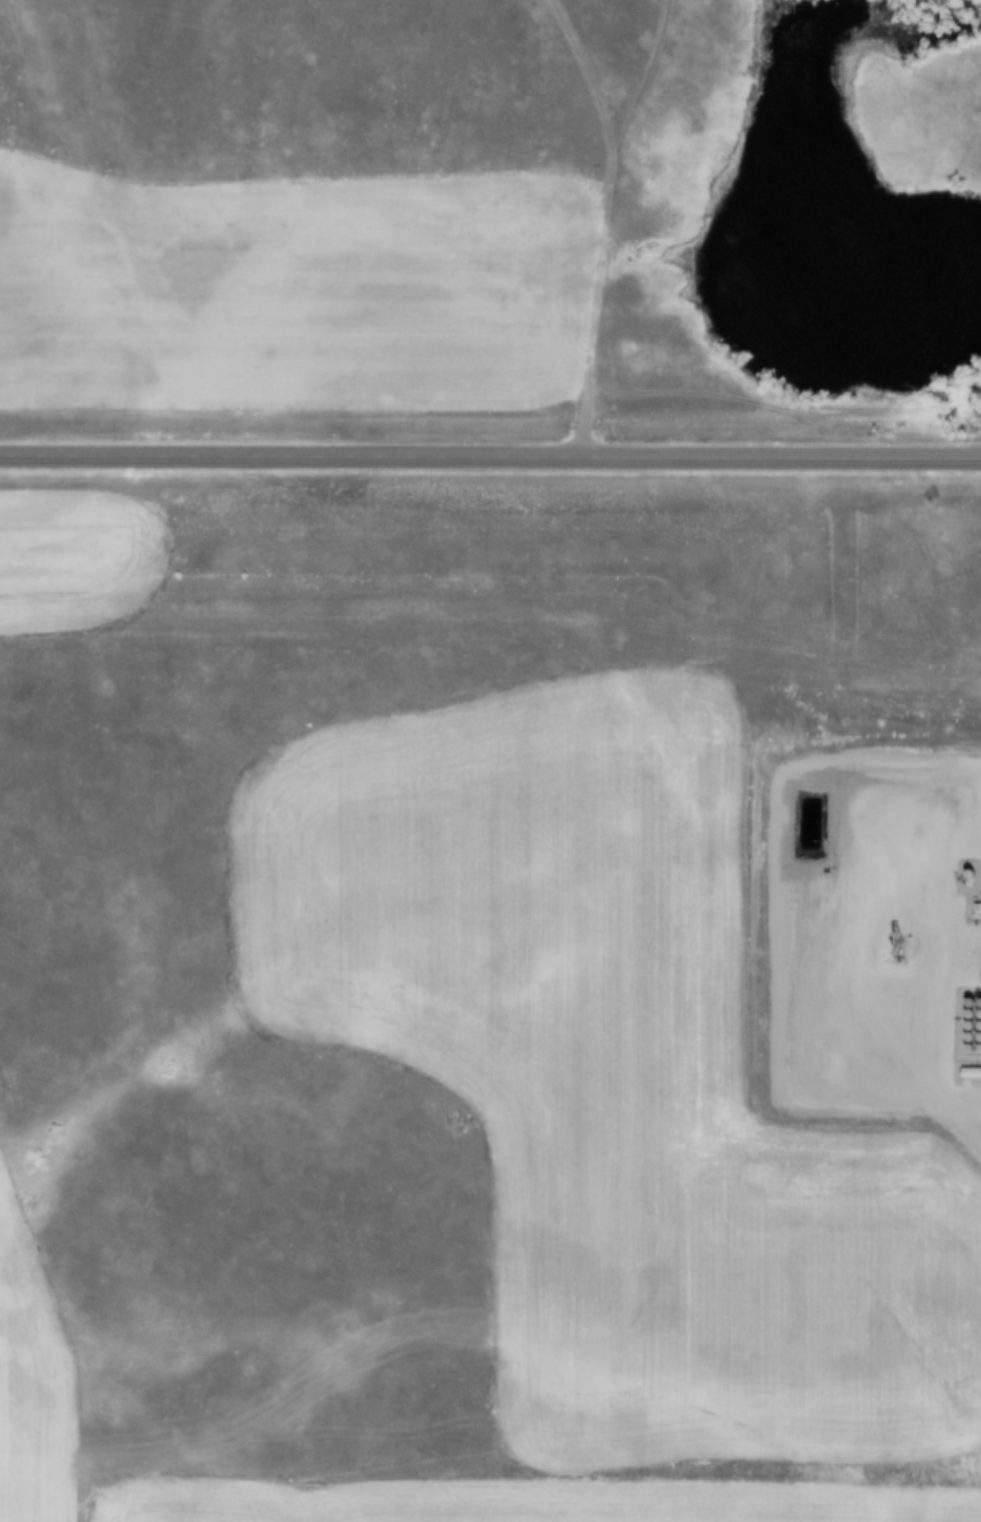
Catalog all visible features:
road: (586, 70)
road: (603, 221)
road: (490, 453)

